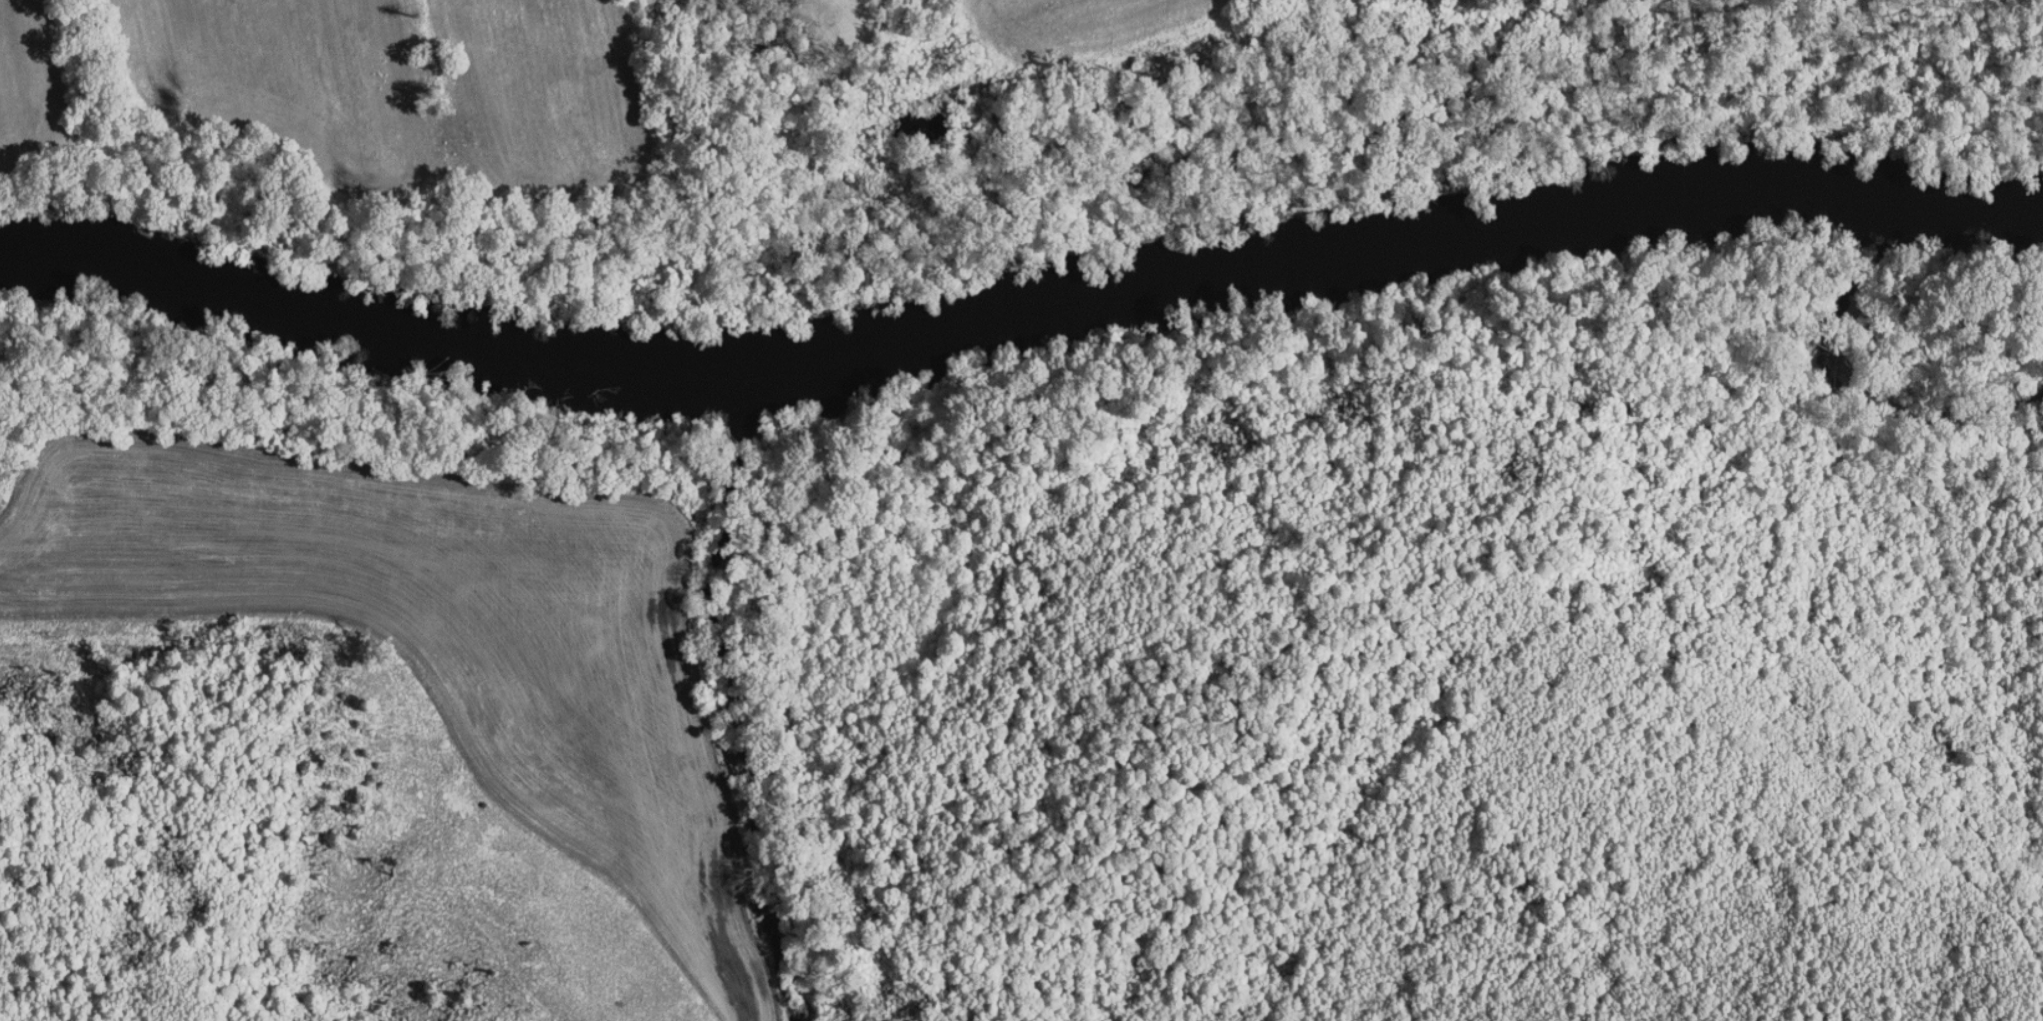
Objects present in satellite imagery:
river: (1019, 313)

